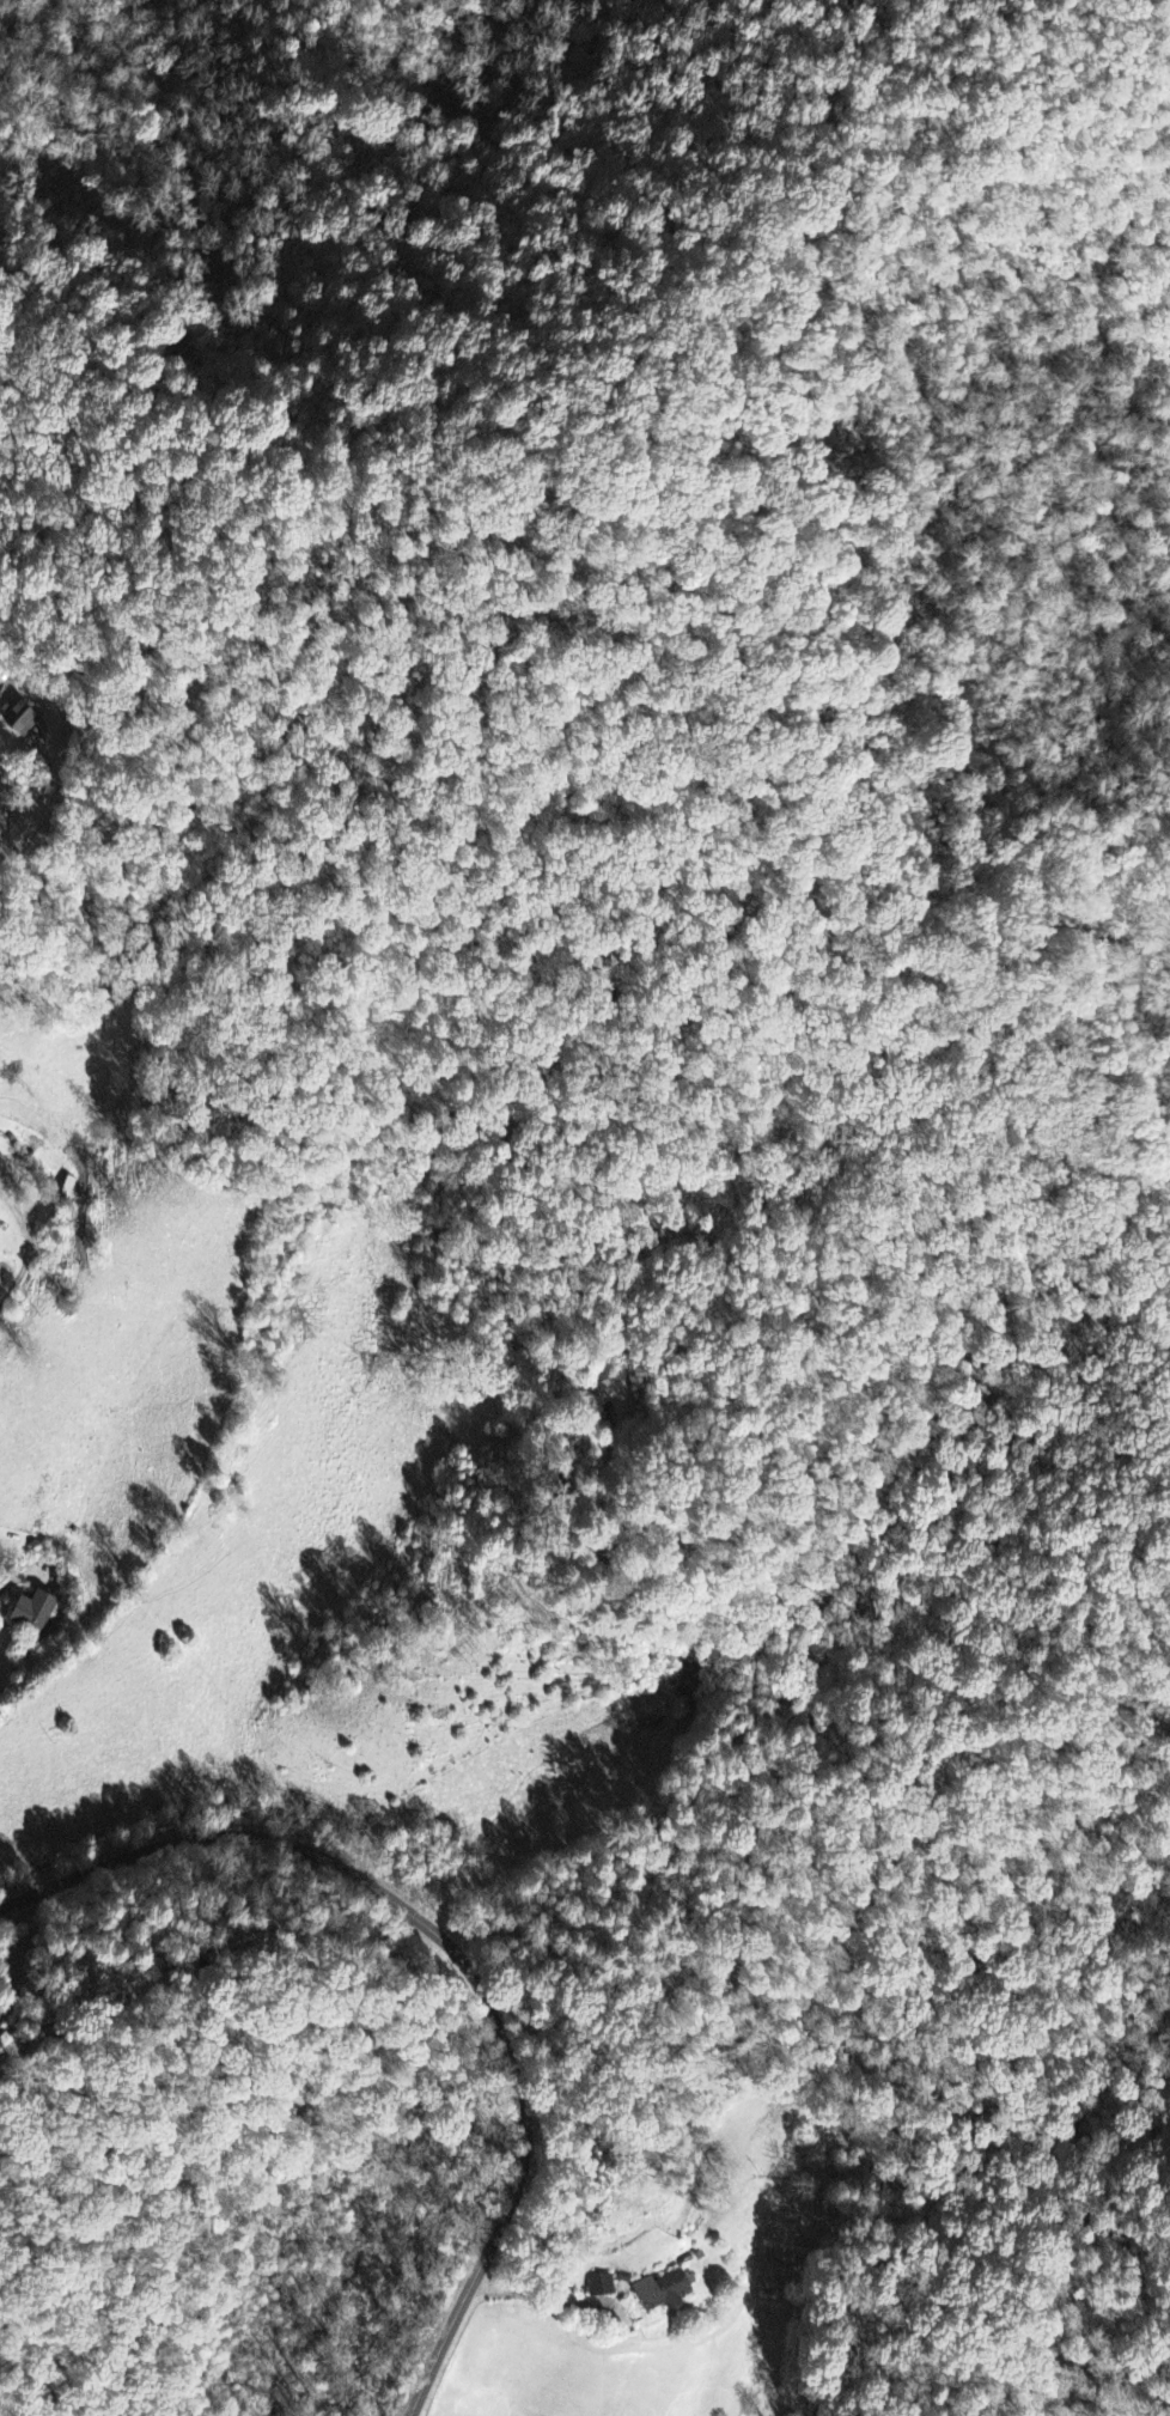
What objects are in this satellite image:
road: (28, 1261)
building: (615, 1395)
building: (30, 1613)
road: (450, 1948)
building: (660, 2292)
building: (601, 2295)

